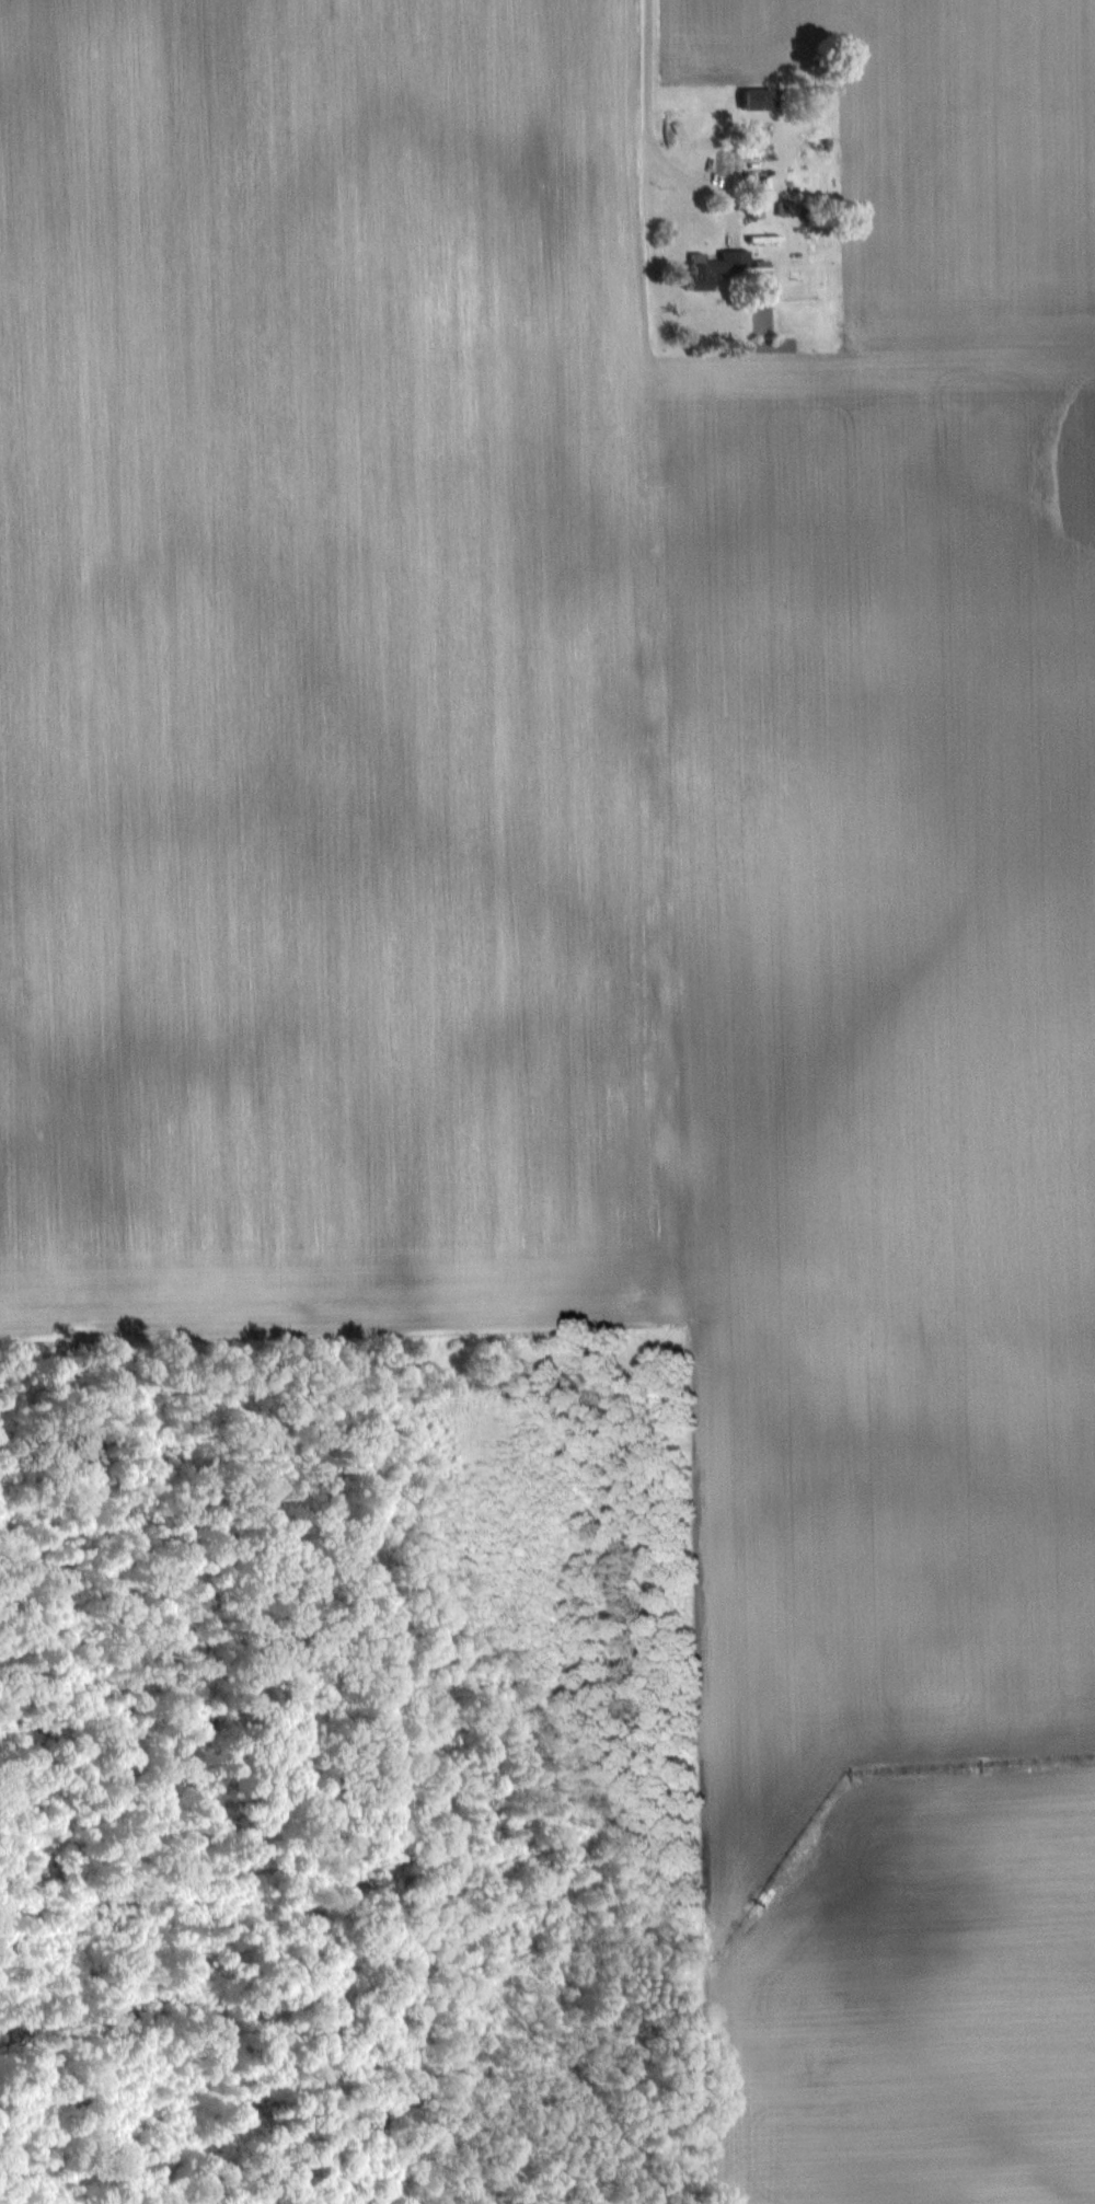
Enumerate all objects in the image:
building: (752, 99)
road: (649, 119)
building: (711, 268)

